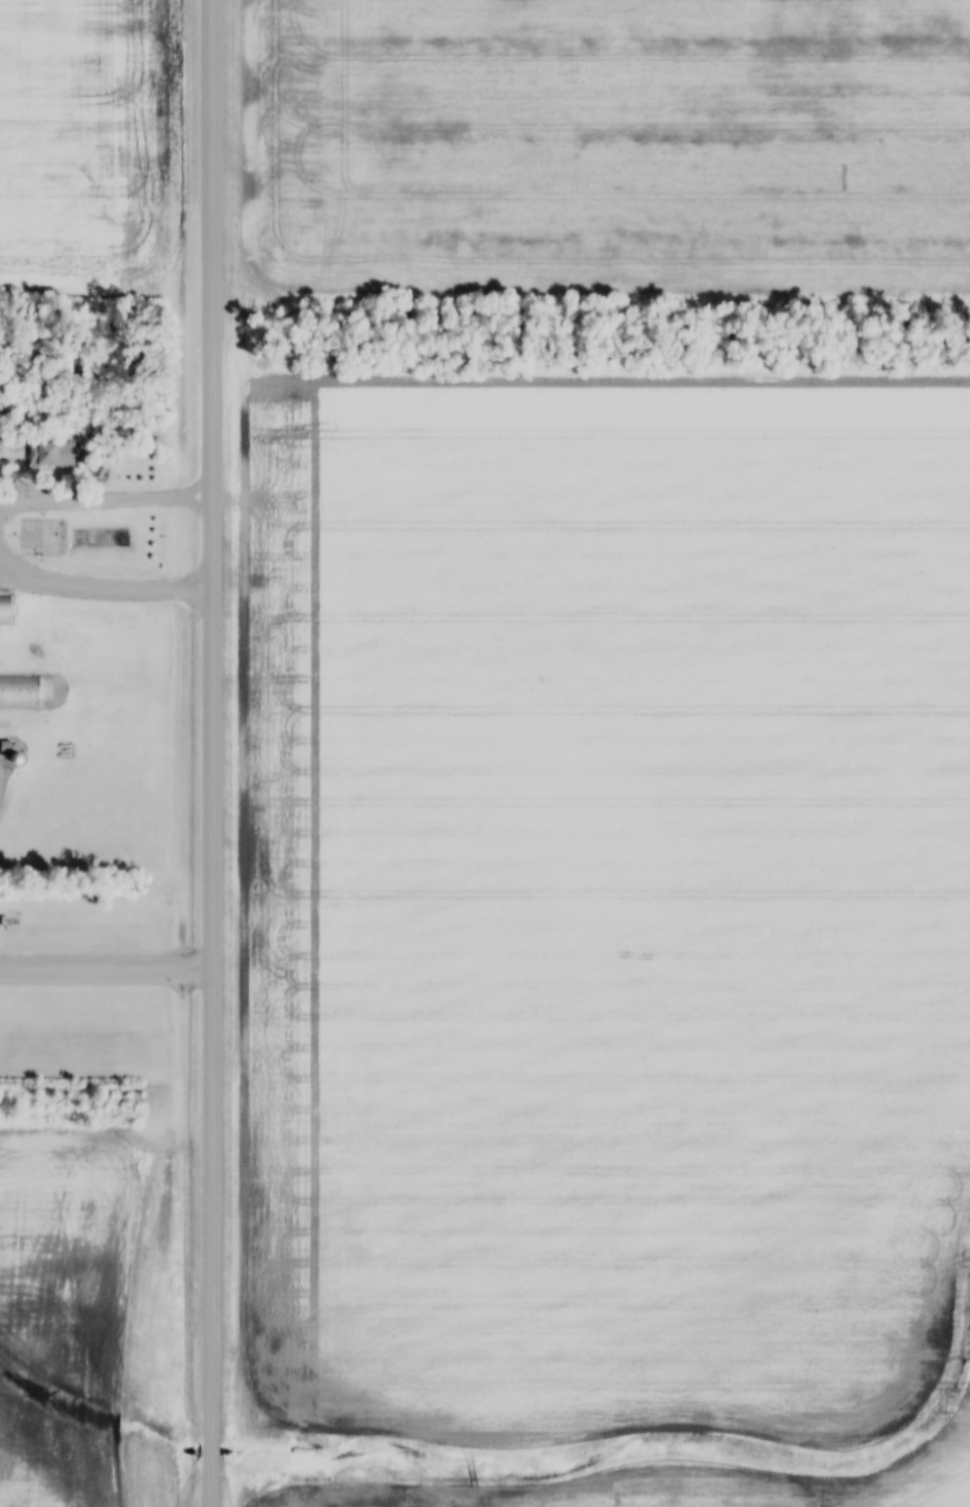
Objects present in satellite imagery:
building: (50, 452)
road: (103, 502)
building: (29, 534)
road: (95, 590)
building: (5, 607)
building: (19, 690)
road: (211, 753)

